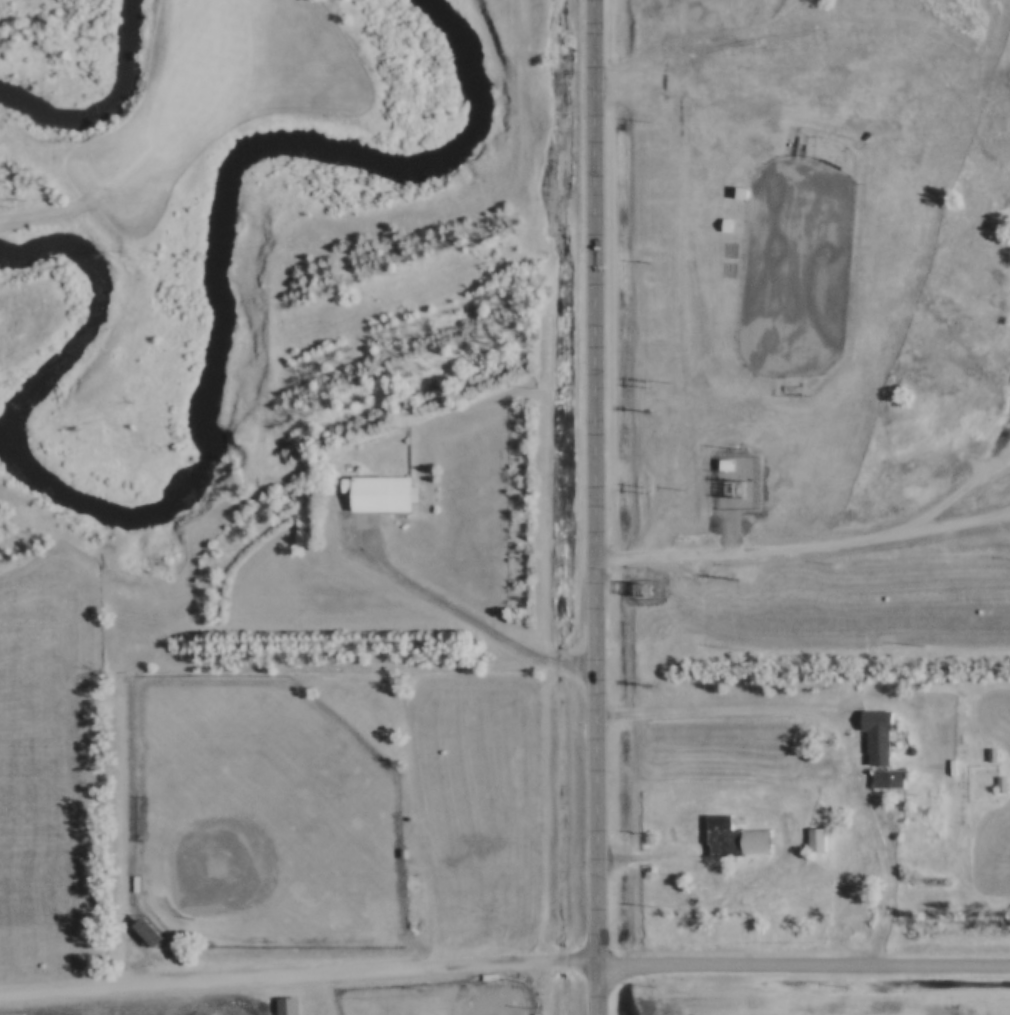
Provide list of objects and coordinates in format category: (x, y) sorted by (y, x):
road: (986, 29)
road: (702, 45)
park: (105, 134)
building: (730, 187)
building: (742, 192)
building: (717, 221)
building: (727, 225)
park: (784, 261)
road: (425, 330)
building: (726, 464)
power substation: (727, 477)
building: (373, 491)
road: (960, 492)
road: (594, 507)
road: (802, 546)
power substation: (635, 585)
road: (469, 616)
road: (840, 728)
building: (870, 735)
building: (984, 753)
building: (944, 766)
building: (881, 778)
building: (994, 783)
park: (252, 813)
building: (717, 836)
building: (809, 839)
building: (749, 841)
building: (141, 931)
road: (804, 965)
road: (299, 973)
park: (430, 998)
building: (279, 1005)

